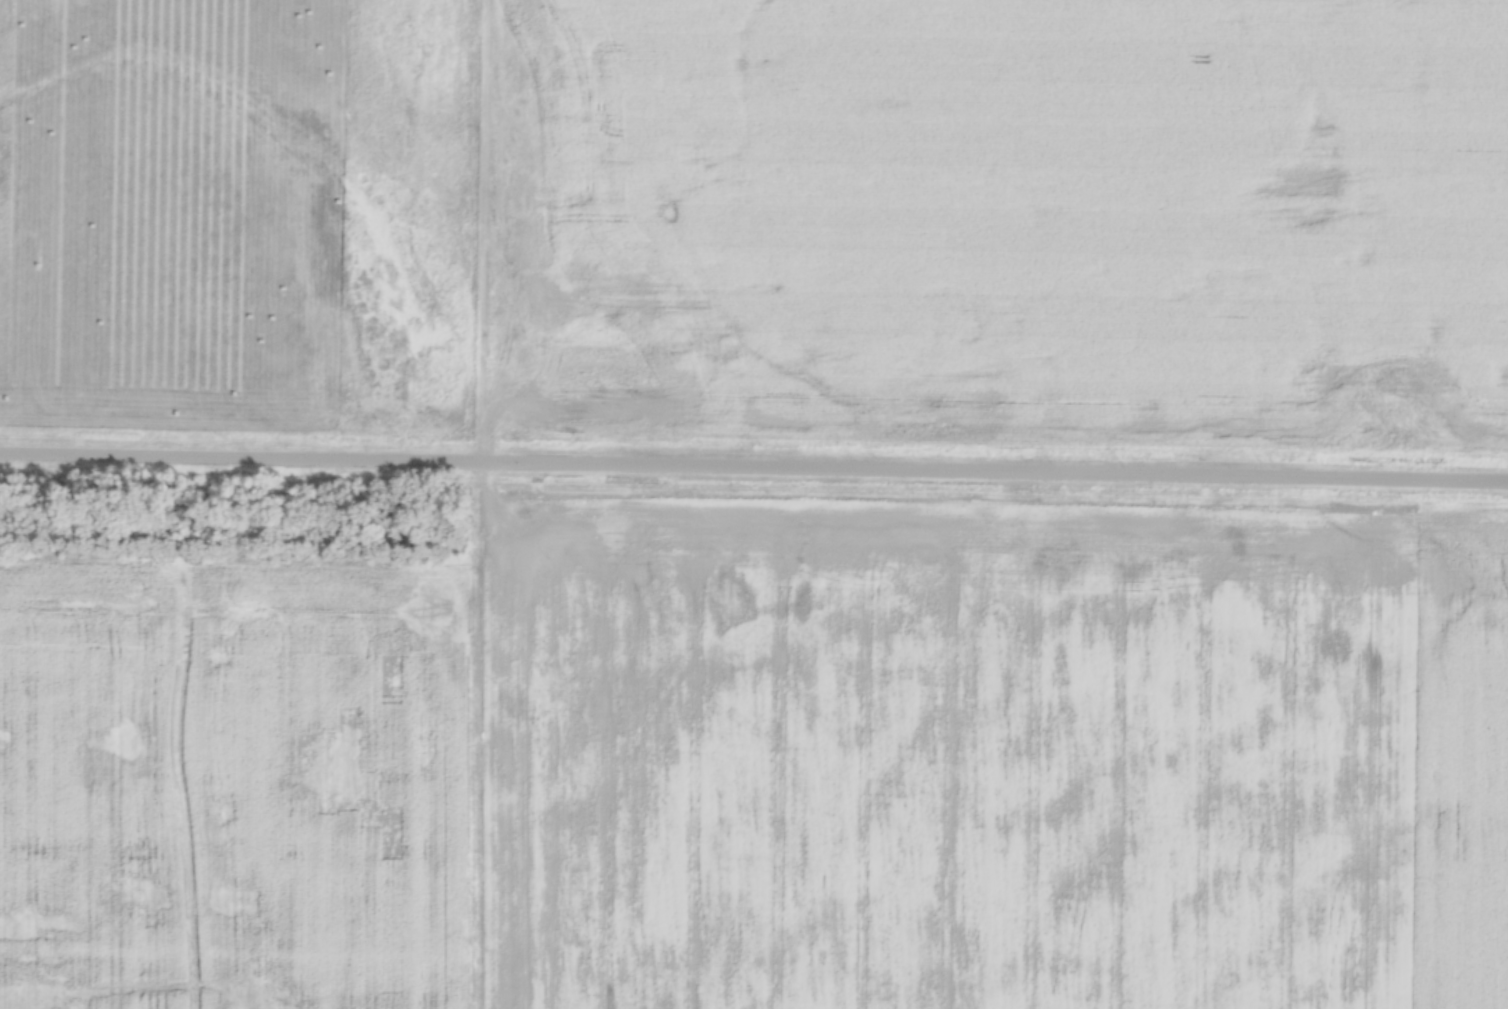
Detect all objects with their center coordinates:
road: (753, 468)

